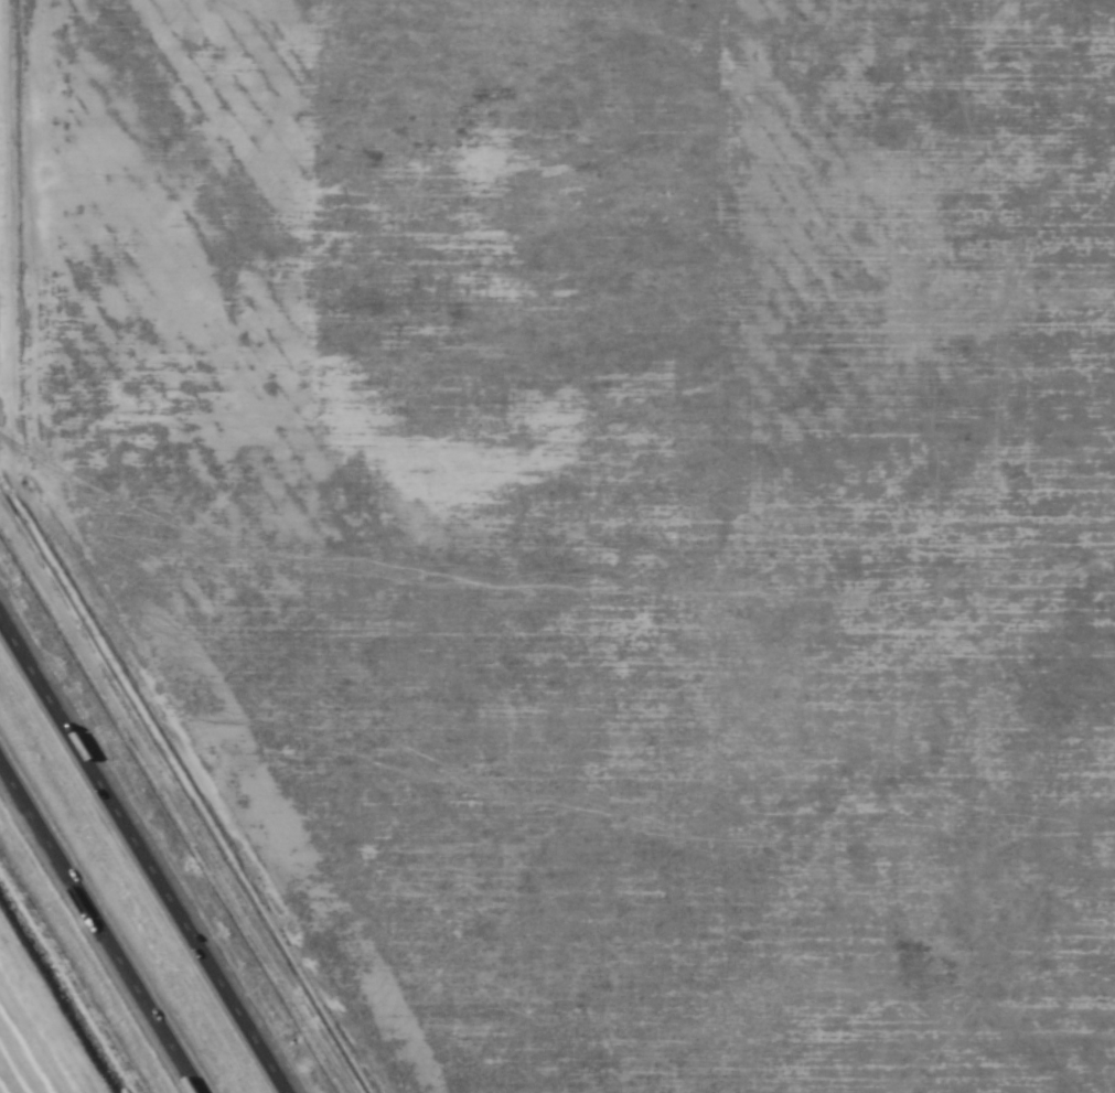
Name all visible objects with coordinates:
road: (146, 851)
road: (100, 926)

